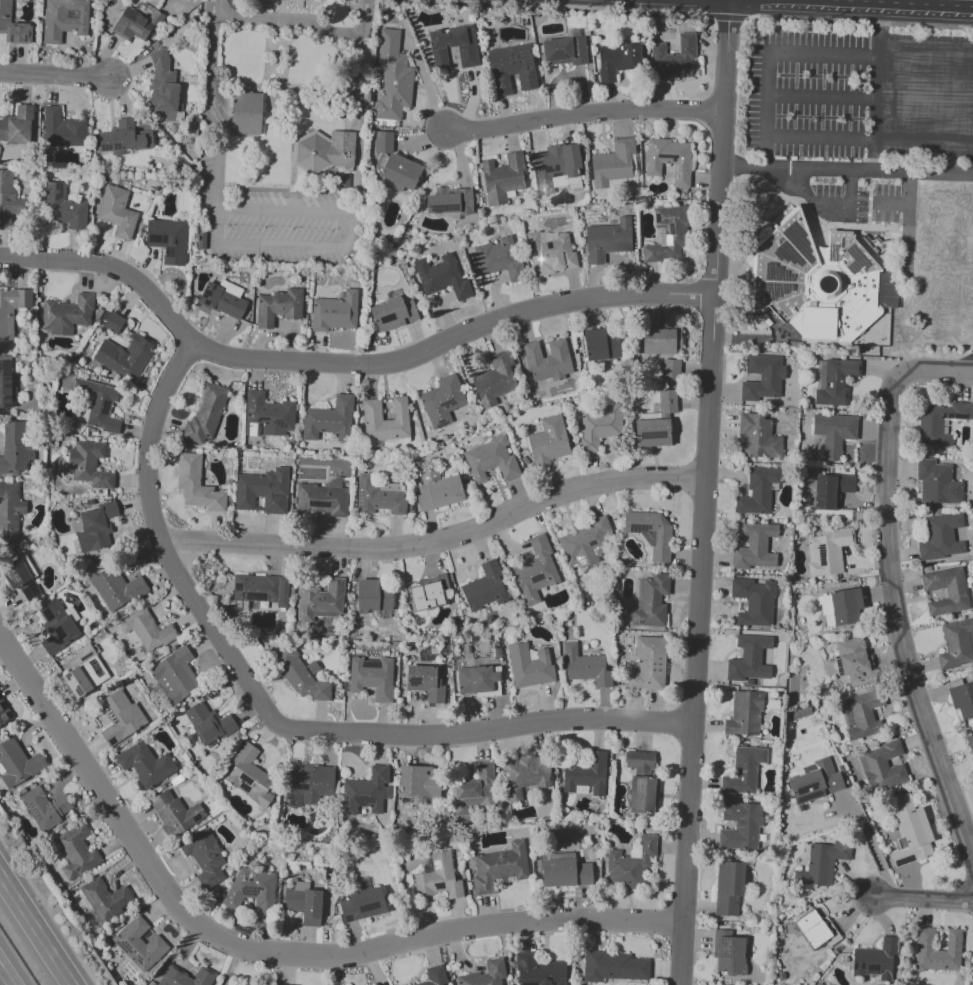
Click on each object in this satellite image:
road: (901, 2)
road: (211, 7)
road: (579, 7)
road: (729, 16)
road: (361, 18)
building: (157, 19)
road: (286, 19)
building: (63, 20)
road: (860, 23)
building: (13, 26)
building: (131, 28)
road: (877, 28)
rooftop solar panel: (24, 38)
rooftop solar panel: (9, 39)
building: (565, 52)
rooftop solar panel: (522, 54)
rooftop solar panel: (558, 55)
rooftop solar panel: (508, 56)
building: (468, 57)
building: (673, 59)
building: (618, 60)
building: (511, 69)
road: (52, 74)
building: (393, 76)
building: (164, 87)
parking lot: (859, 90)
road: (768, 95)
road: (870, 96)
road: (873, 113)
building: (246, 114)
road: (580, 118)
building: (17, 125)
building: (63, 129)
building: (125, 139)
building: (383, 141)
rooftop solar panel: (106, 149)
rooftop solar panel: (116, 149)
building: (324, 152)
rooftop solar panel: (667, 157)
building: (669, 160)
building: (614, 163)
building: (556, 165)
rooftop solar panel: (555, 168)
rooftop solar panel: (545, 169)
rooftop solar panel: (678, 170)
road: (845, 170)
building: (400, 173)
rooftop solar panel: (556, 175)
building: (502, 177)
rooftop solar panel: (60, 192)
building: (8, 198)
building: (449, 203)
road: (891, 204)
road: (824, 205)
building: (62, 207)
rooftop solar panel: (442, 210)
building: (117, 212)
rooftop solar panel: (658, 218)
road: (907, 222)
rooftop solar panel: (671, 229)
building: (669, 232)
building: (169, 239)
rooftop solar panel: (798, 241)
road: (268, 246)
building: (608, 246)
building: (552, 249)
rooftop solar panel: (789, 249)
rooftop solar panel: (833, 250)
rooftop solar panel: (858, 257)
building: (499, 259)
rooftop solar panel: (773, 268)
building: (441, 276)
building: (820, 282)
rooftop solar panel: (213, 288)
rooftop solar panel: (771, 291)
rooftop solar panel: (206, 293)
building: (222, 302)
rooftop solar panel: (206, 303)
building: (279, 308)
building: (11, 309)
building: (335, 312)
building: (393, 314)
building: (67, 315)
building: (114, 323)
building: (679, 336)
building: (659, 341)
building: (596, 345)
building: (124, 357)
building: (548, 361)
road: (343, 364)
building: (670, 369)
road: (935, 373)
rooftop solar panel: (8, 378)
building: (496, 378)
building: (763, 381)
building: (838, 382)
building: (6, 386)
rooftop solar panel: (8, 386)
rooftop solar panel: (8, 398)
building: (442, 401)
building: (668, 401)
rooftop solar panel: (449, 403)
rooftop solar panel: (7, 406)
building: (100, 406)
rooftop solar panel: (104, 409)
building: (268, 414)
building: (205, 415)
rooftop solar panel: (261, 419)
building: (329, 420)
building: (386, 420)
building: (938, 420)
rooftop solar panel: (280, 423)
rooftop solar panel: (441, 423)
building: (599, 426)
building: (652, 433)
building: (834, 434)
rooftop solar panel: (654, 436)
building: (758, 437)
building: (549, 441)
building: (13, 447)
building: (492, 460)
rooftop solar panel: (469, 462)
rooftop solar panel: (488, 465)
building: (89, 466)
building: (937, 483)
building: (196, 485)
building: (438, 490)
building: (832, 490)
building: (758, 491)
road: (706, 492)
building: (262, 493)
building: (379, 496)
building: (323, 499)
rooftop solar panel: (361, 500)
building: (9, 512)
rooftop solar panel: (639, 528)
building: (94, 529)
building: (651, 532)
building: (939, 537)
road: (439, 541)
rooftop solar panel: (592, 542)
building: (586, 543)
building: (755, 548)
building: (828, 551)
rooftop solar panel: (582, 560)
rooftop solar panel: (8, 569)
building: (536, 571)
rooftop solar panel: (534, 576)
rooftop solar panel: (15, 577)
building: (20, 577)
building: (487, 587)
building: (115, 588)
building: (947, 592)
building: (261, 593)
building: (368, 595)
building: (428, 596)
building: (387, 598)
building: (322, 600)
building: (653, 602)
building: (754, 602)
building: (846, 607)
building: (825, 611)
rooftop solar panel: (643, 620)
road: (896, 620)
building: (58, 627)
building: (146, 632)
building: (956, 645)
rooftop solar panel: (87, 656)
building: (749, 659)
building: (854, 660)
building: (648, 664)
building: (531, 665)
building: (586, 667)
rooftop solar panel: (98, 669)
building: (85, 672)
building: (300, 674)
building: (176, 675)
rooftop solar panel: (68, 677)
building: (372, 677)
building: (477, 680)
building: (425, 681)
building: (749, 682)
rooftop solar panel: (415, 683)
rooftop solar panel: (79, 692)
building: (962, 701)
building: (4, 713)
building: (745, 714)
building: (120, 716)
building: (864, 716)
road: (281, 721)
building: (207, 723)
building: (970, 746)
building: (881, 754)
building: (640, 760)
building: (17, 764)
building: (145, 765)
building: (584, 771)
building: (744, 771)
building: (526, 776)
building: (250, 777)
rooftop solar panel: (247, 779)
building: (889, 779)
building: (419, 781)
rooftop solar panel: (641, 782)
building: (816, 782)
building: (312, 784)
rooftop solar panel: (304, 786)
rooftop solar panel: (805, 786)
rooftop solar panel: (248, 787)
building: (473, 790)
building: (369, 791)
building: (645, 795)
rooftop solar panel: (291, 796)
rooftop solar panel: (808, 796)
rooftop solar panel: (361, 799)
rooftop solar panel: (291, 802)
building: (903, 803)
building: (46, 809)
building: (176, 812)
rooftop solar panel: (195, 821)
building: (741, 826)
building: (913, 838)
road: (872, 849)
building: (76, 852)
building: (205, 856)
building: (822, 863)
building: (631, 865)
rooftop solar panel: (437, 866)
building: (500, 867)
building: (564, 873)
building: (438, 879)
building: (729, 888)
rooftop solar panel: (440, 889)
building: (252, 890)
rooftop solar panel: (245, 891)
rooftop solar panel: (252, 891)
road: (921, 898)
building: (106, 899)
building: (305, 903)
building: (363, 905)
rooftop solar panel: (368, 909)
rooftop solar panel: (348, 919)
building: (813, 929)
road: (35, 930)
building: (141, 944)
rooftop solar panel: (721, 949)
building: (730, 953)
road: (266, 954)
building: (932, 954)
building: (877, 959)
rooftop solar panel: (853, 966)
rooftop solar panel: (861, 966)
building: (613, 967)
rooftop solar panel: (872, 968)
building: (538, 971)
building: (486, 974)
building: (434, 976)
building: (186, 977)
road: (4, 978)
rooftop solar panel: (548, 978)
building: (282, 984)
rooftop solar panel: (528, 984)

